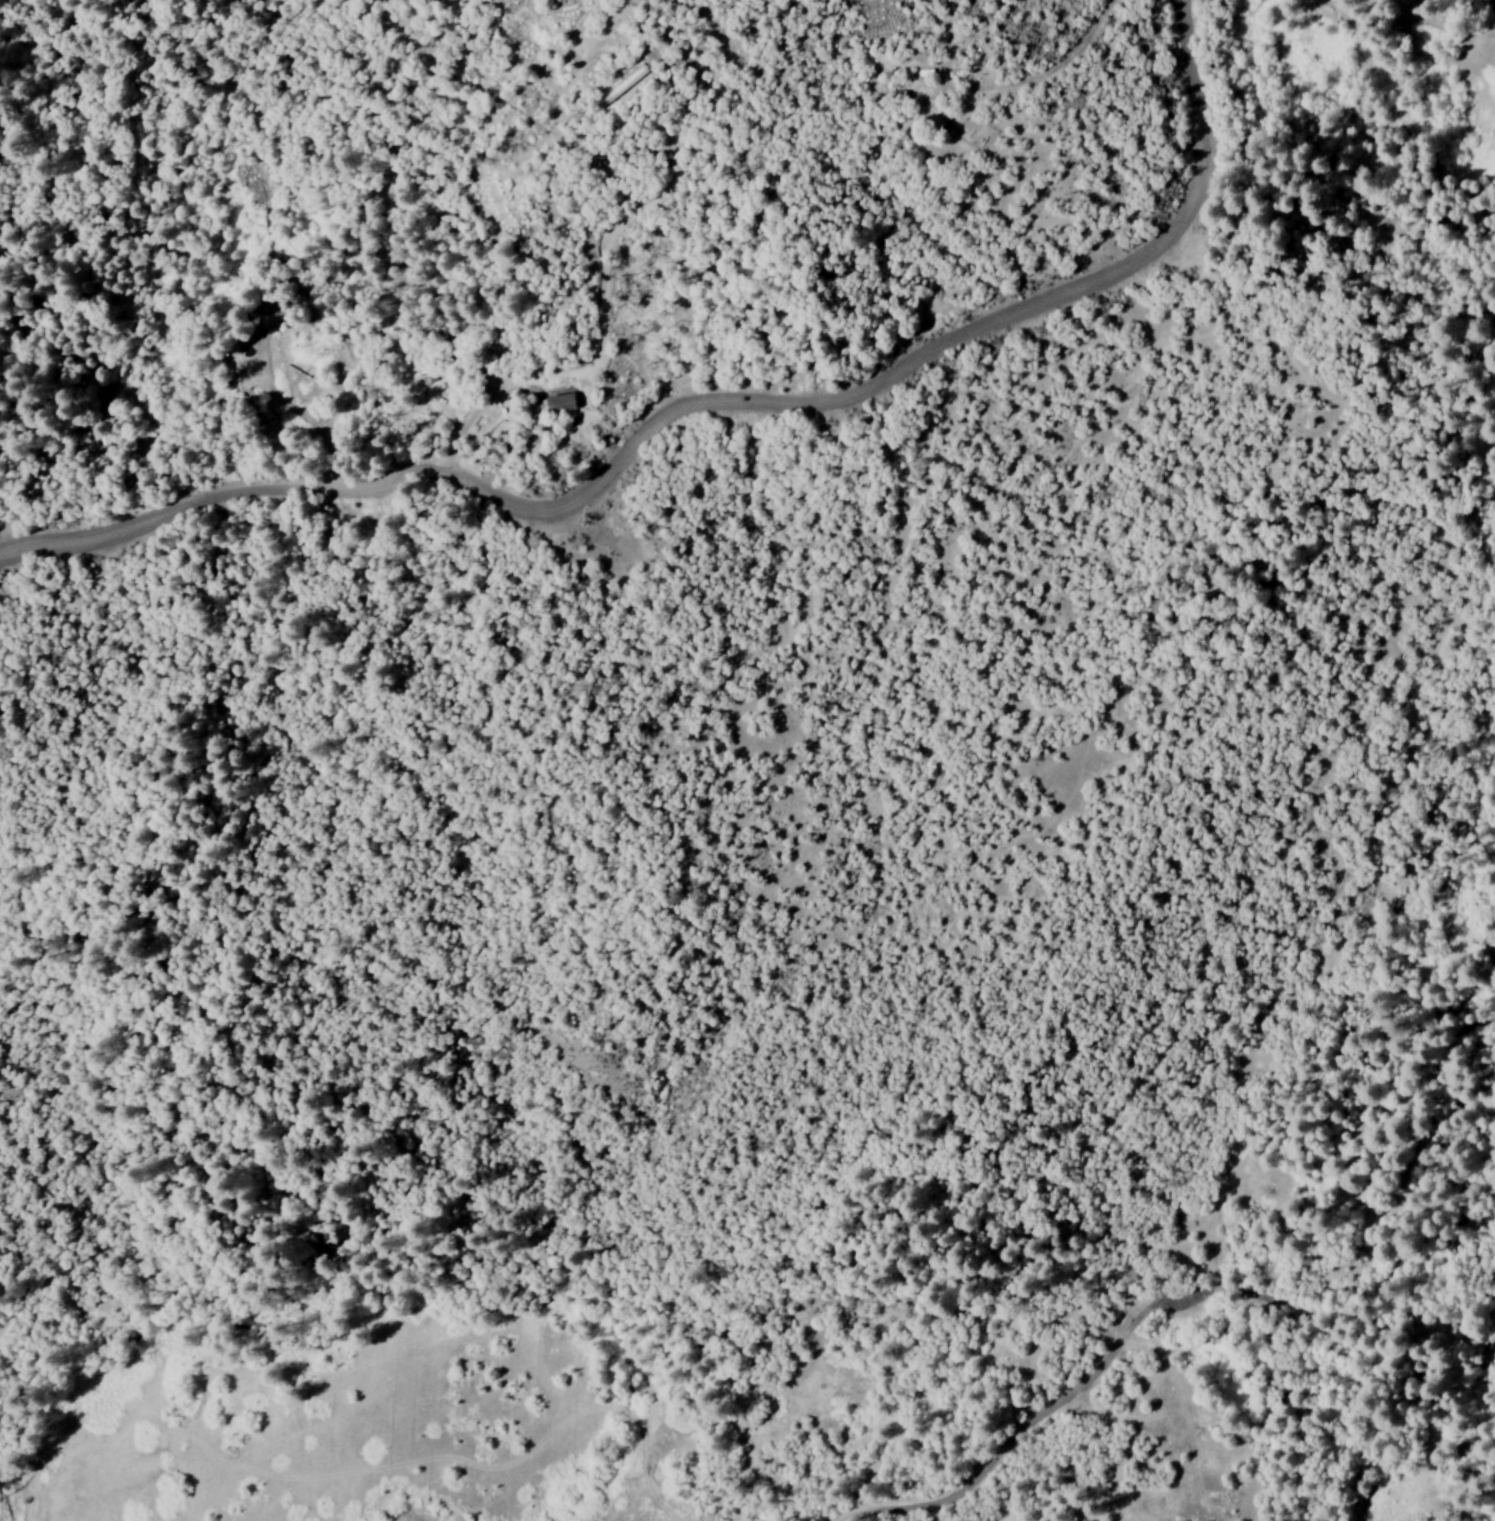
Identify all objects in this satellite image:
building: (932, 123)
building: (555, 404)
road: (697, 426)
road: (1374, 1156)
road: (1108, 1347)
road: (1421, 1353)

